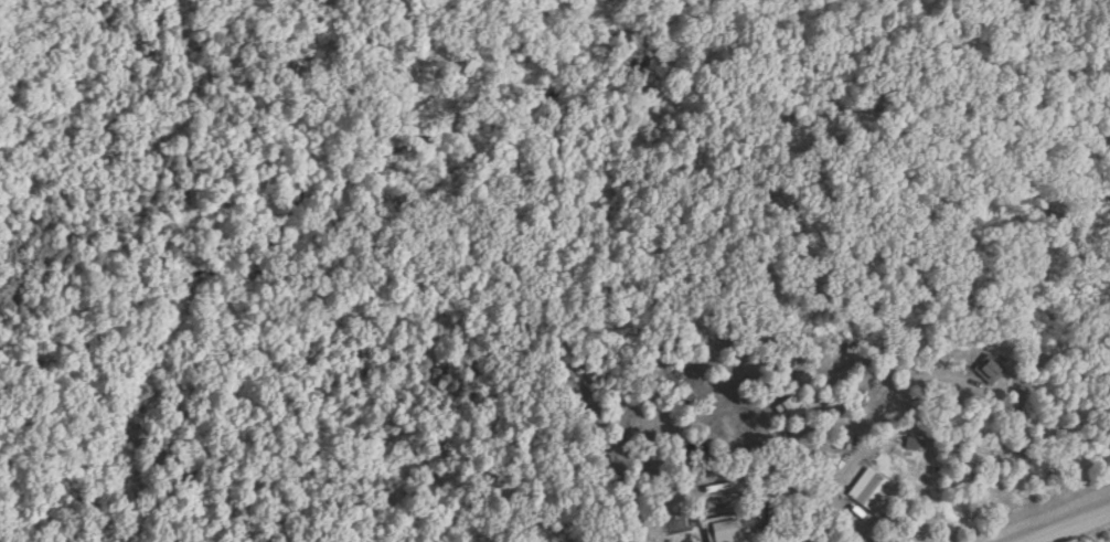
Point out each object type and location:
building: (992, 369)
road: (818, 492)
building: (879, 495)
road: (1072, 528)
building: (726, 529)

